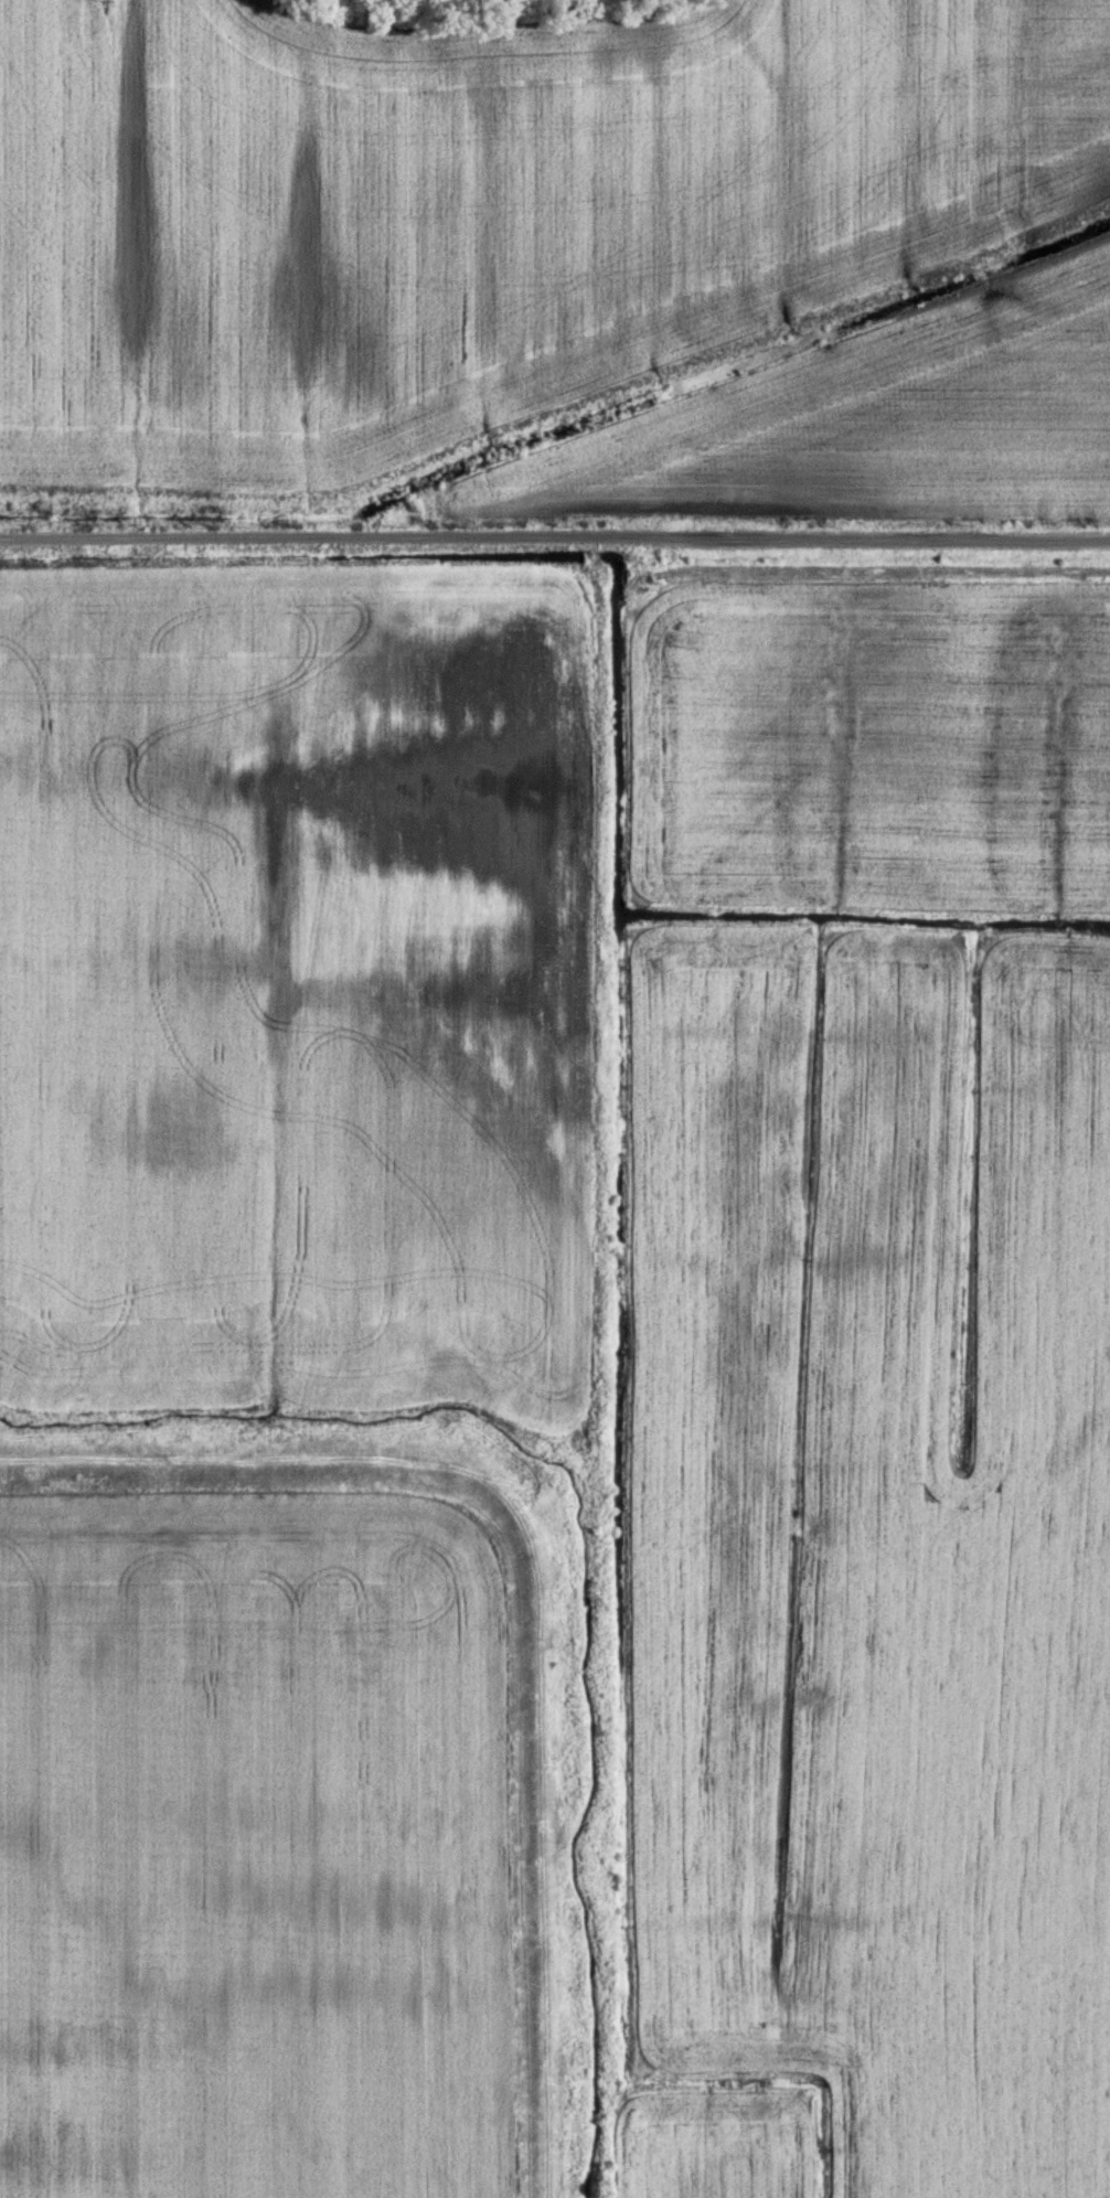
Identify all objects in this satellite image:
road: (555, 537)

